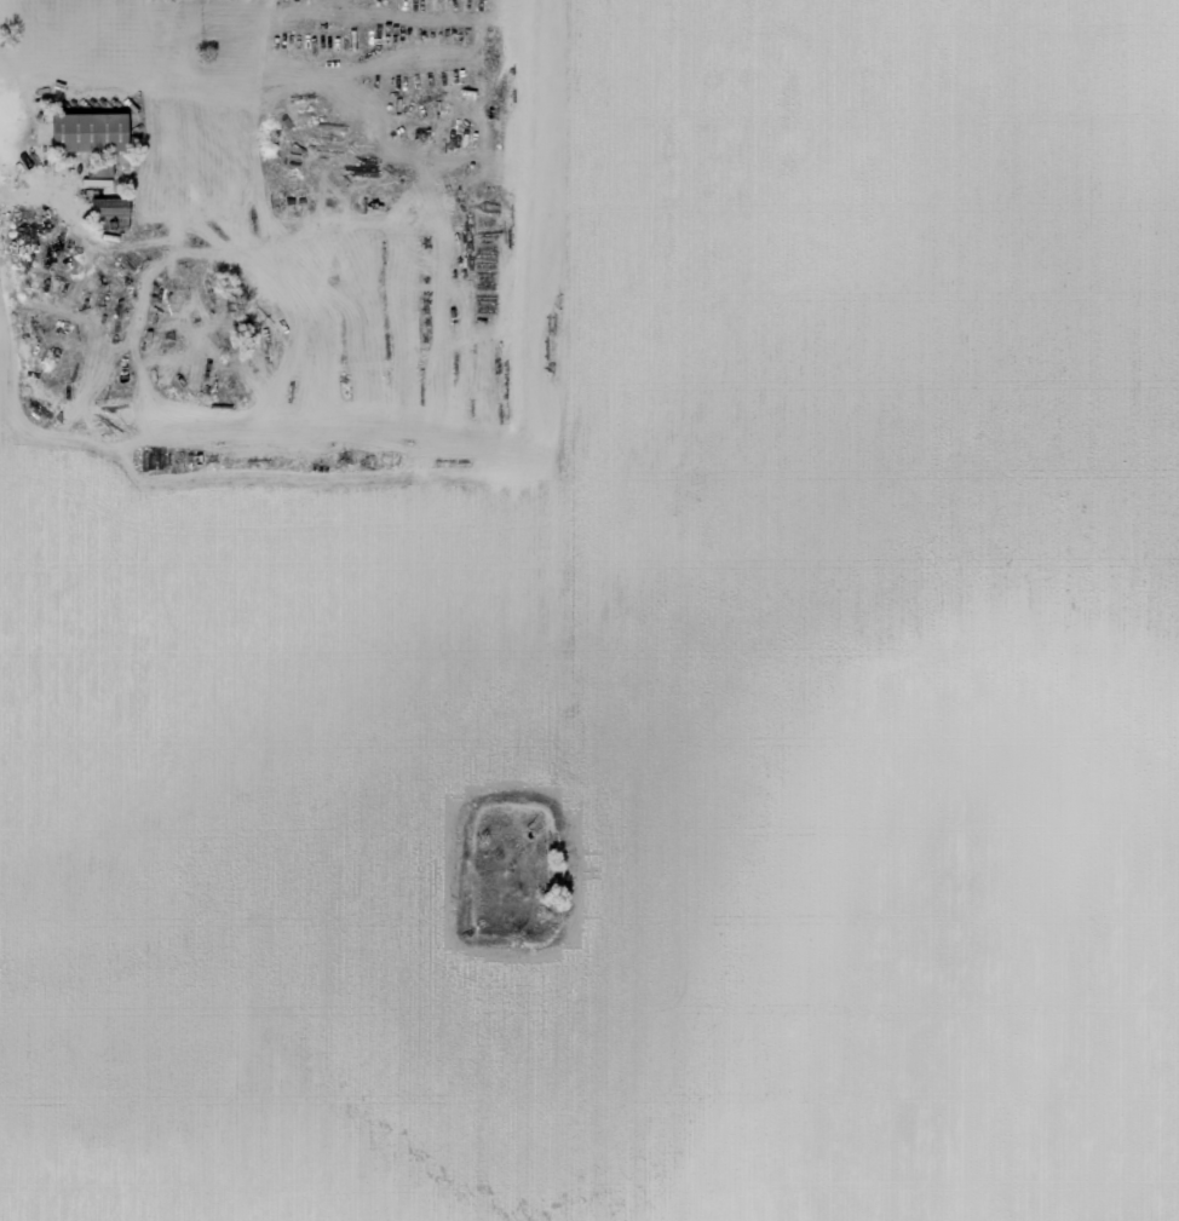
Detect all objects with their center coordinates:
building: (96, 134)

